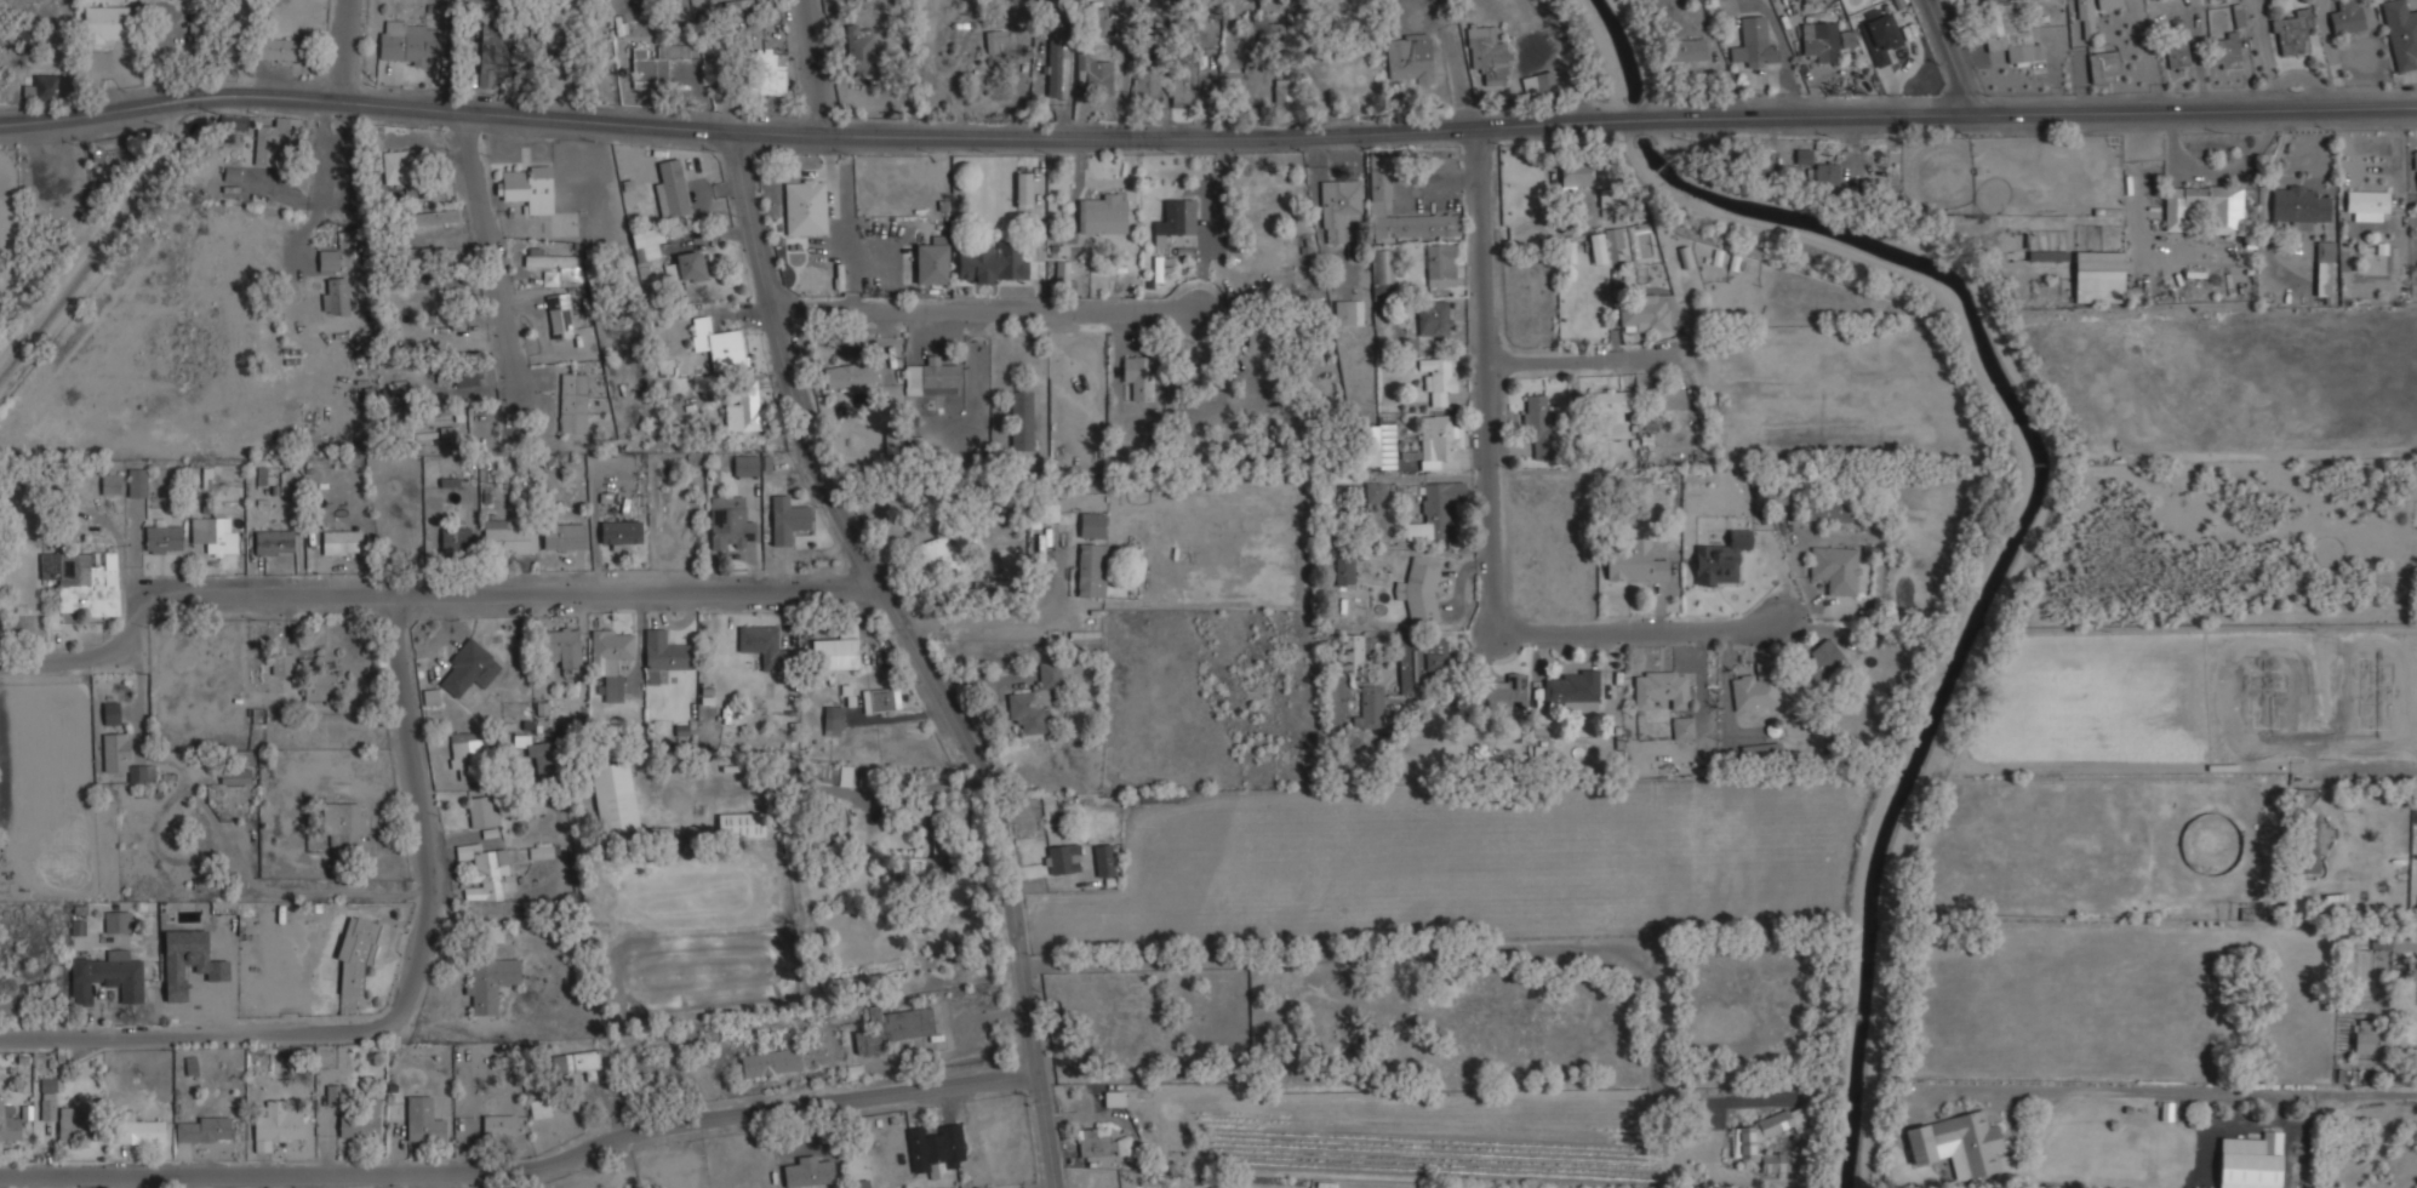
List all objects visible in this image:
building: (1267, 4)
building: (2090, 15)
building: (2238, 16)
building: (1091, 18)
building: (2345, 21)
building: (107, 23)
building: (202, 27)
building: (1268, 27)
building: (2291, 33)
building: (2401, 33)
building: (2006, 35)
building: (1880, 36)
building: (992, 39)
building: (1753, 41)
building: (1818, 41)
building: (408, 42)
road: (233, 48)
building: (280, 48)
road: (327, 50)
building: (1685, 50)
building: (492, 51)
building: (857, 51)
building: (2225, 51)
road: (1955, 52)
building: (2176, 53)
building: (1486, 55)
building: (1409, 58)
building: (652, 62)
building: (2103, 65)
road: (792, 68)
building: (554, 70)
building: (1053, 74)
building: (1093, 75)
building: (770, 76)
building: (1184, 80)
building: (1144, 82)
building: (1537, 82)
building: (46, 87)
building: (1284, 95)
road: (2196, 107)
road: (987, 135)
building: (268, 144)
building: (1804, 156)
building: (404, 170)
building: (1576, 173)
building: (2416, 175)
building: (1379, 176)
building: (1824, 176)
building: (673, 187)
building: (526, 188)
building: (1022, 189)
building: (2366, 205)
building: (804, 206)
building: (2298, 206)
building: (2202, 207)
building: (1338, 209)
building: (1105, 213)
building: (433, 217)
building: (1175, 219)
building: (1613, 238)
building: (647, 245)
building: (1596, 249)
road: (488, 252)
building: (435, 256)
building: (931, 259)
building: (554, 262)
building: (988, 264)
building: (1440, 264)
building: (1382, 265)
building: (687, 267)
building: (1062, 267)
building: (1161, 267)
building: (2324, 268)
building: (2098, 274)
building: (436, 282)
building: (335, 296)
road: (983, 312)
building: (1348, 312)
building: (1646, 312)
building: (559, 315)
building: (1433, 316)
building: (445, 319)
building: (390, 335)
building: (715, 342)
road: (1569, 353)
building: (848, 373)
building: (1136, 376)
building: (1439, 377)
building: (467, 378)
building: (938, 378)
building: (1665, 399)
building: (1609, 401)
building: (572, 402)
building: (743, 406)
building: (1021, 419)
building: (1537, 423)
building: (1438, 441)
building: (1377, 446)
building: (744, 466)
building: (137, 482)
building: (110, 484)
building: (1375, 491)
building: (1824, 509)
building: (1435, 510)
building: (1041, 514)
road: (1486, 518)
building: (785, 520)
building: (728, 524)
building: (1091, 525)
building: (619, 532)
building: (212, 536)
building: (562, 536)
building: (505, 537)
building: (161, 538)
building: (455, 538)
building: (273, 542)
building: (341, 542)
building: (933, 558)
building: (1720, 559)
building: (1633, 561)
building: (1834, 569)
building: (1090, 571)
building: (1343, 571)
building: (82, 582)
building: (1418, 592)
road: (423, 593)
building: (762, 645)
building: (559, 649)
building: (835, 650)
building: (1352, 653)
building: (663, 655)
road: (912, 655)
building: (610, 659)
building: (1419, 661)
building: (1818, 661)
building: (282, 664)
building: (468, 668)
building: (320, 686)
building: (1659, 687)
building: (1571, 690)
building: (1755, 691)
building: (1502, 692)
building: (430, 695)
building: (880, 699)
road: (400, 701)
building: (1034, 701)
building: (1369, 707)
building: (109, 712)
building: (833, 720)
building: (1682, 727)
building: (465, 749)
building: (1760, 752)
building: (539, 755)
building: (121, 756)
building: (844, 775)
road: (2369, 775)
building: (234, 776)
building: (613, 798)
building: (1156, 799)
building: (481, 811)
building: (2416, 815)
building: (342, 823)
building: (739, 826)
building: (2308, 829)
building: (538, 852)
building: (1058, 858)
building: (1102, 859)
building: (924, 861)
building: (486, 872)
building: (115, 924)
building: (2393, 944)
building: (355, 954)
building: (116, 973)
building: (490, 982)
building: (892, 1028)
road: (309, 1030)
building: (1108, 1032)
building: (2367, 1039)
building: (582, 1062)
building: (770, 1062)
building: (190, 1068)
road: (2167, 1092)
building: (1113, 1098)
building: (539, 1108)
building: (61, 1114)
building: (422, 1120)
building: (360, 1123)
building: (7, 1125)
building: (274, 1125)
building: (497, 1126)
building: (141, 1130)
building: (201, 1130)
building: (1743, 1142)
building: (1095, 1143)
building: (1956, 1143)
building: (935, 1149)
building: (2250, 1161)
road: (522, 1166)
building: (808, 1171)
building: (858, 1183)

